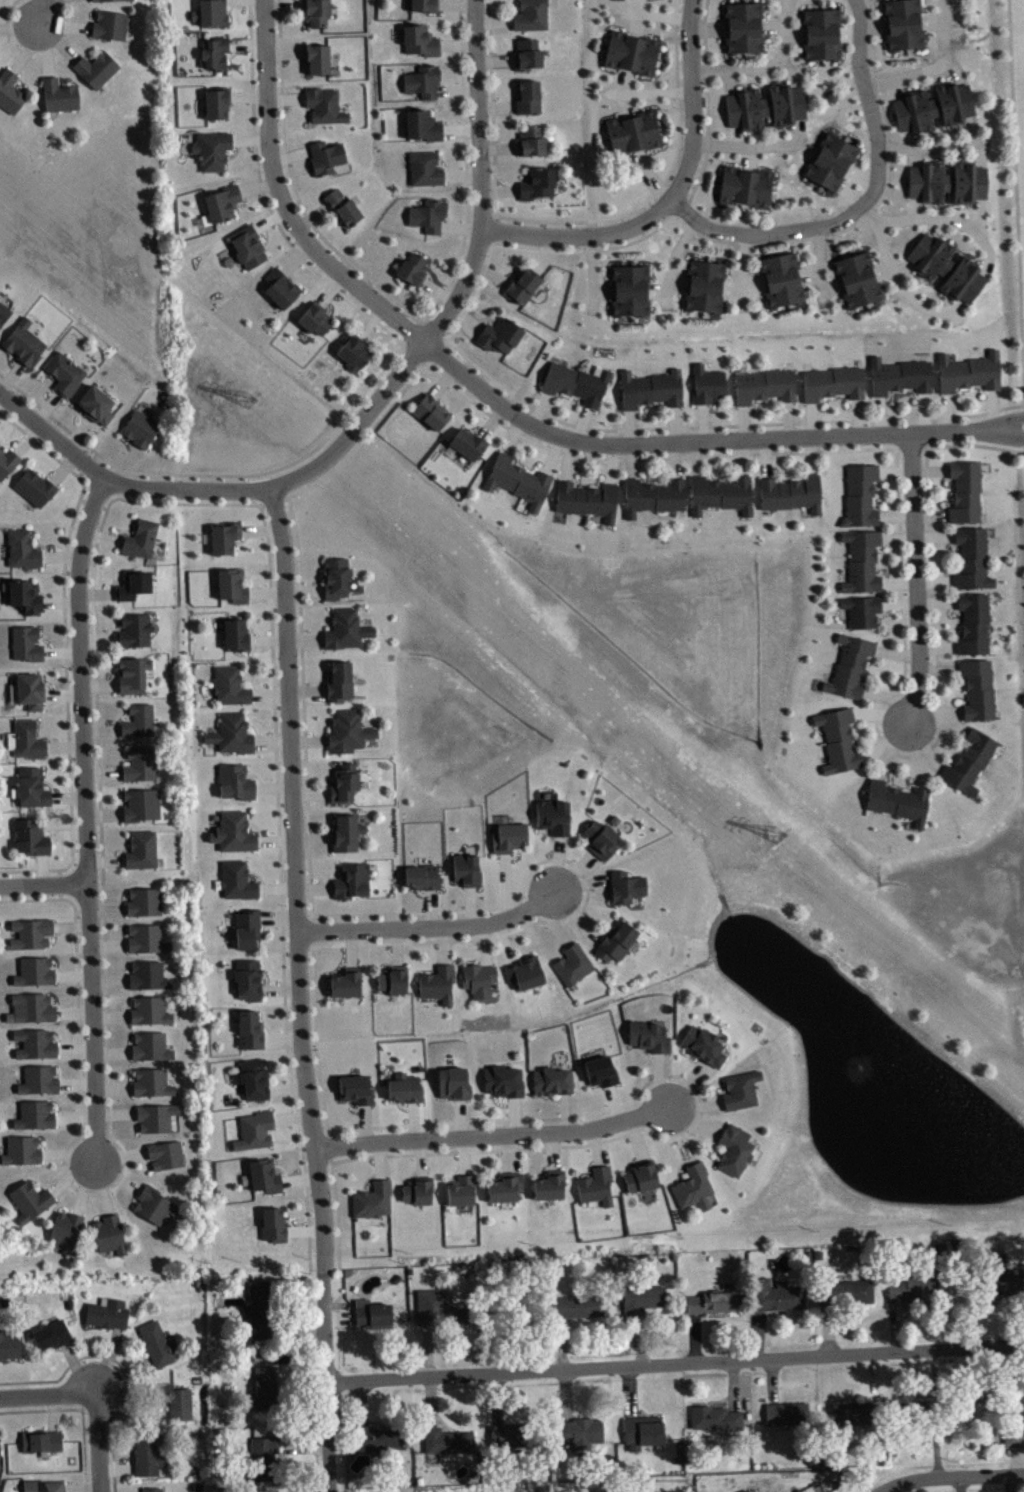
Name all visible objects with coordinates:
building: (115, 2)
building: (424, 5)
road: (45, 10)
building: (315, 11)
building: (210, 12)
building: (530, 15)
road: (655, 15)
road: (636, 17)
road: (931, 22)
building: (902, 23)
building: (109, 24)
road: (873, 24)
building: (743, 25)
road: (708, 26)
road: (772, 27)
building: (820, 33)
road: (849, 33)
road: (793, 34)
building: (419, 39)
building: (214, 51)
building: (631, 51)
building: (527, 53)
road: (36, 54)
building: (316, 57)
road: (766, 65)
building: (95, 67)
road: (933, 67)
road: (790, 69)
road: (955, 69)
road: (626, 79)
building: (422, 80)
road: (730, 81)
road: (896, 88)
building: (10, 90)
road: (640, 91)
building: (58, 94)
building: (528, 96)
building: (216, 101)
road: (627, 103)
building: (324, 104)
building: (765, 105)
road: (707, 106)
building: (933, 106)
building: (422, 124)
road: (971, 128)
building: (633, 131)
road: (905, 138)
building: (531, 141)
road: (743, 146)
road: (756, 146)
road: (806, 146)
road: (933, 147)
building: (211, 149)
road: (979, 153)
building: (325, 156)
road: (915, 156)
building: (830, 160)
building: (424, 167)
road: (862, 173)
road: (650, 176)
building: (947, 181)
building: (538, 182)
building: (744, 185)
road: (672, 197)
building: (221, 202)
road: (863, 202)
road: (872, 205)
building: (342, 207)
building: (428, 214)
road: (979, 216)
road: (739, 218)
road: (945, 219)
road: (571, 220)
road: (934, 226)
road: (480, 232)
building: (247, 245)
road: (672, 260)
road: (818, 265)
road: (903, 265)
building: (946, 267)
building: (412, 268)
road: (984, 269)
road: (742, 272)
road: (593, 273)
road: (808, 273)
road: (897, 276)
building: (781, 278)
building: (857, 278)
road: (677, 284)
building: (522, 285)
building: (704, 285)
road: (830, 285)
building: (279, 286)
road: (743, 286)
building: (629, 289)
road: (657, 290)
road: (603, 291)
road: (404, 305)
road: (957, 306)
building: (3, 312)
building: (314, 317)
building: (499, 334)
building: (23, 342)
building: (353, 351)
building: (968, 371)
building: (64, 373)
building: (899, 375)
road: (375, 377)
building: (576, 382)
building: (832, 382)
building: (707, 383)
building: (764, 385)
building: (650, 388)
power tower: (247, 399)
building: (95, 404)
building: (430, 411)
road: (513, 412)
road: (1023, 415)
road: (776, 422)
road: (376, 423)
building: (140, 428)
building: (467, 442)
building: (7, 461)
building: (517, 479)
building: (34, 486)
road: (172, 488)
building: (964, 491)
building: (790, 492)
building: (720, 493)
building: (653, 495)
building: (860, 495)
building: (586, 498)
building: (224, 536)
building: (139, 538)
building: (22, 548)
building: (971, 558)
building: (862, 560)
building: (334, 576)
road: (916, 578)
building: (133, 584)
building: (231, 584)
road: (93, 593)
building: (24, 595)
building: (862, 609)
building: (973, 622)
building: (345, 628)
building: (133, 629)
building: (235, 633)
building: (26, 642)
road: (66, 652)
building: (850, 665)
building: (132, 673)
building: (338, 680)
building: (229, 685)
building: (977, 688)
building: (30, 689)
building: (138, 720)
building: (347, 731)
building: (231, 733)
building: (27, 738)
building: (838, 738)
building: (968, 760)
building: (139, 763)
building: (234, 781)
building: (343, 782)
building: (31, 786)
building: (898, 799)
building: (140, 803)
building: (552, 815)
road: (86, 816)
building: (232, 831)
building: (345, 831)
building: (30, 836)
building: (508, 836)
building: (599, 838)
power tower: (780, 838)
building: (141, 849)
building: (465, 868)
building: (422, 876)
building: (235, 880)
building: (351, 880)
building: (625, 886)
road: (44, 887)
building: (143, 900)
road: (431, 923)
building: (244, 928)
building: (30, 932)
building: (146, 937)
building: (615, 941)
building: (572, 963)
building: (34, 971)
building: (524, 971)
building: (147, 974)
building: (247, 978)
building: (392, 978)
building: (478, 978)
building: (345, 982)
building: (437, 982)
road: (300, 988)
building: (32, 1006)
building: (149, 1010)
building: (248, 1028)
building: (648, 1034)
building: (34, 1042)
building: (703, 1044)
building: (150, 1045)
building: (600, 1070)
building: (38, 1079)
building: (252, 1079)
building: (502, 1080)
building: (551, 1080)
building: (151, 1081)
building: (453, 1082)
building: (404, 1086)
building: (355, 1088)
building: (740, 1088)
building: (34, 1114)
building: (155, 1116)
building: (254, 1129)
road: (489, 1134)
road: (672, 1138)
building: (733, 1149)
building: (20, 1150)
building: (164, 1153)
building: (264, 1175)
building: (640, 1175)
building: (549, 1184)
building: (595, 1185)
building: (504, 1186)
building: (692, 1186)
building: (460, 1189)
building: (416, 1191)
building: (372, 1199)
building: (29, 1200)
building: (153, 1203)
building: (272, 1224)
building: (65, 1229)
building: (109, 1234)
building: (996, 1278)
building: (916, 1286)
building: (846, 1291)
building: (774, 1294)
building: (642, 1297)
building: (715, 1300)
building: (577, 1305)
building: (438, 1306)
building: (259, 1310)
building: (106, 1312)
building: (372, 1313)
building: (51, 1333)
building: (157, 1342)
building: (9, 1345)
road: (679, 1362)
road: (124, 1365)
building: (263, 1388)
road: (49, 1395)
building: (173, 1399)
building: (932, 1408)
road: (22, 1409)
building: (858, 1411)
building: (786, 1412)
building: (716, 1417)
building: (1012, 1419)
road: (83, 1430)
building: (642, 1430)
building: (581, 1432)
building: (512, 1434)
building: (378, 1437)
building: (40, 1439)
building: (447, 1439)
road: (100, 1442)
building: (1, 1450)
building: (146, 1453)
building: (262, 1456)
road: (950, 1475)
building: (42, 1485)
building: (151, 1488)
building: (745, 1490)
building: (781, 1491)

